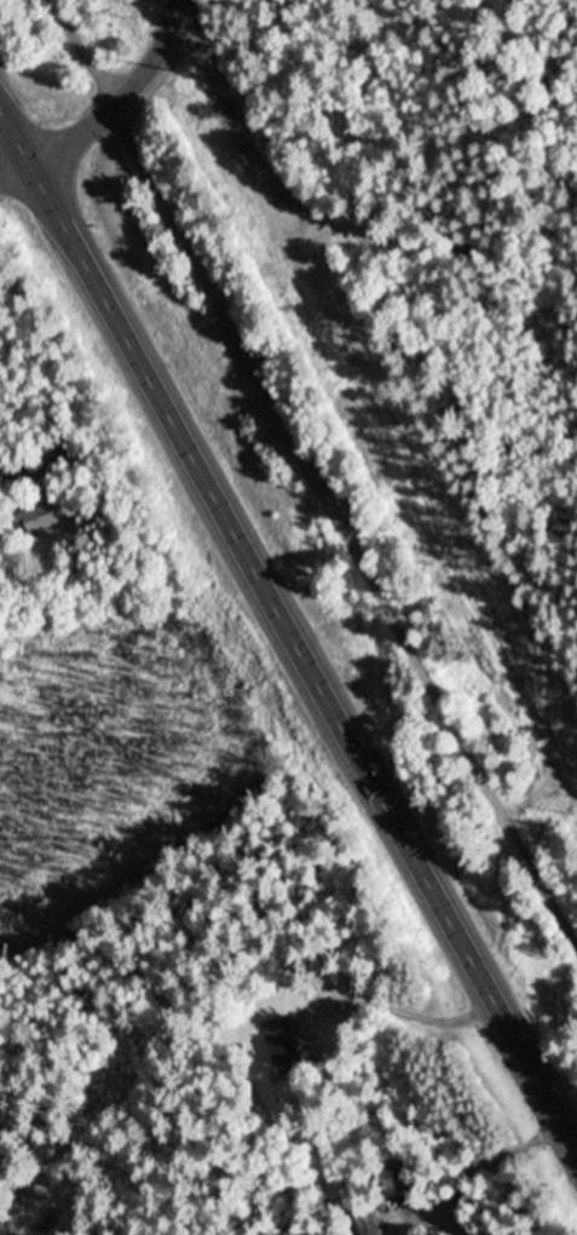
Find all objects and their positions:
road: (127, 96)
road: (17, 168)
road: (328, 212)
building: (54, 455)
road: (308, 475)
building: (41, 517)
road: (287, 619)
building: (283, 1040)
building: (368, 1220)

